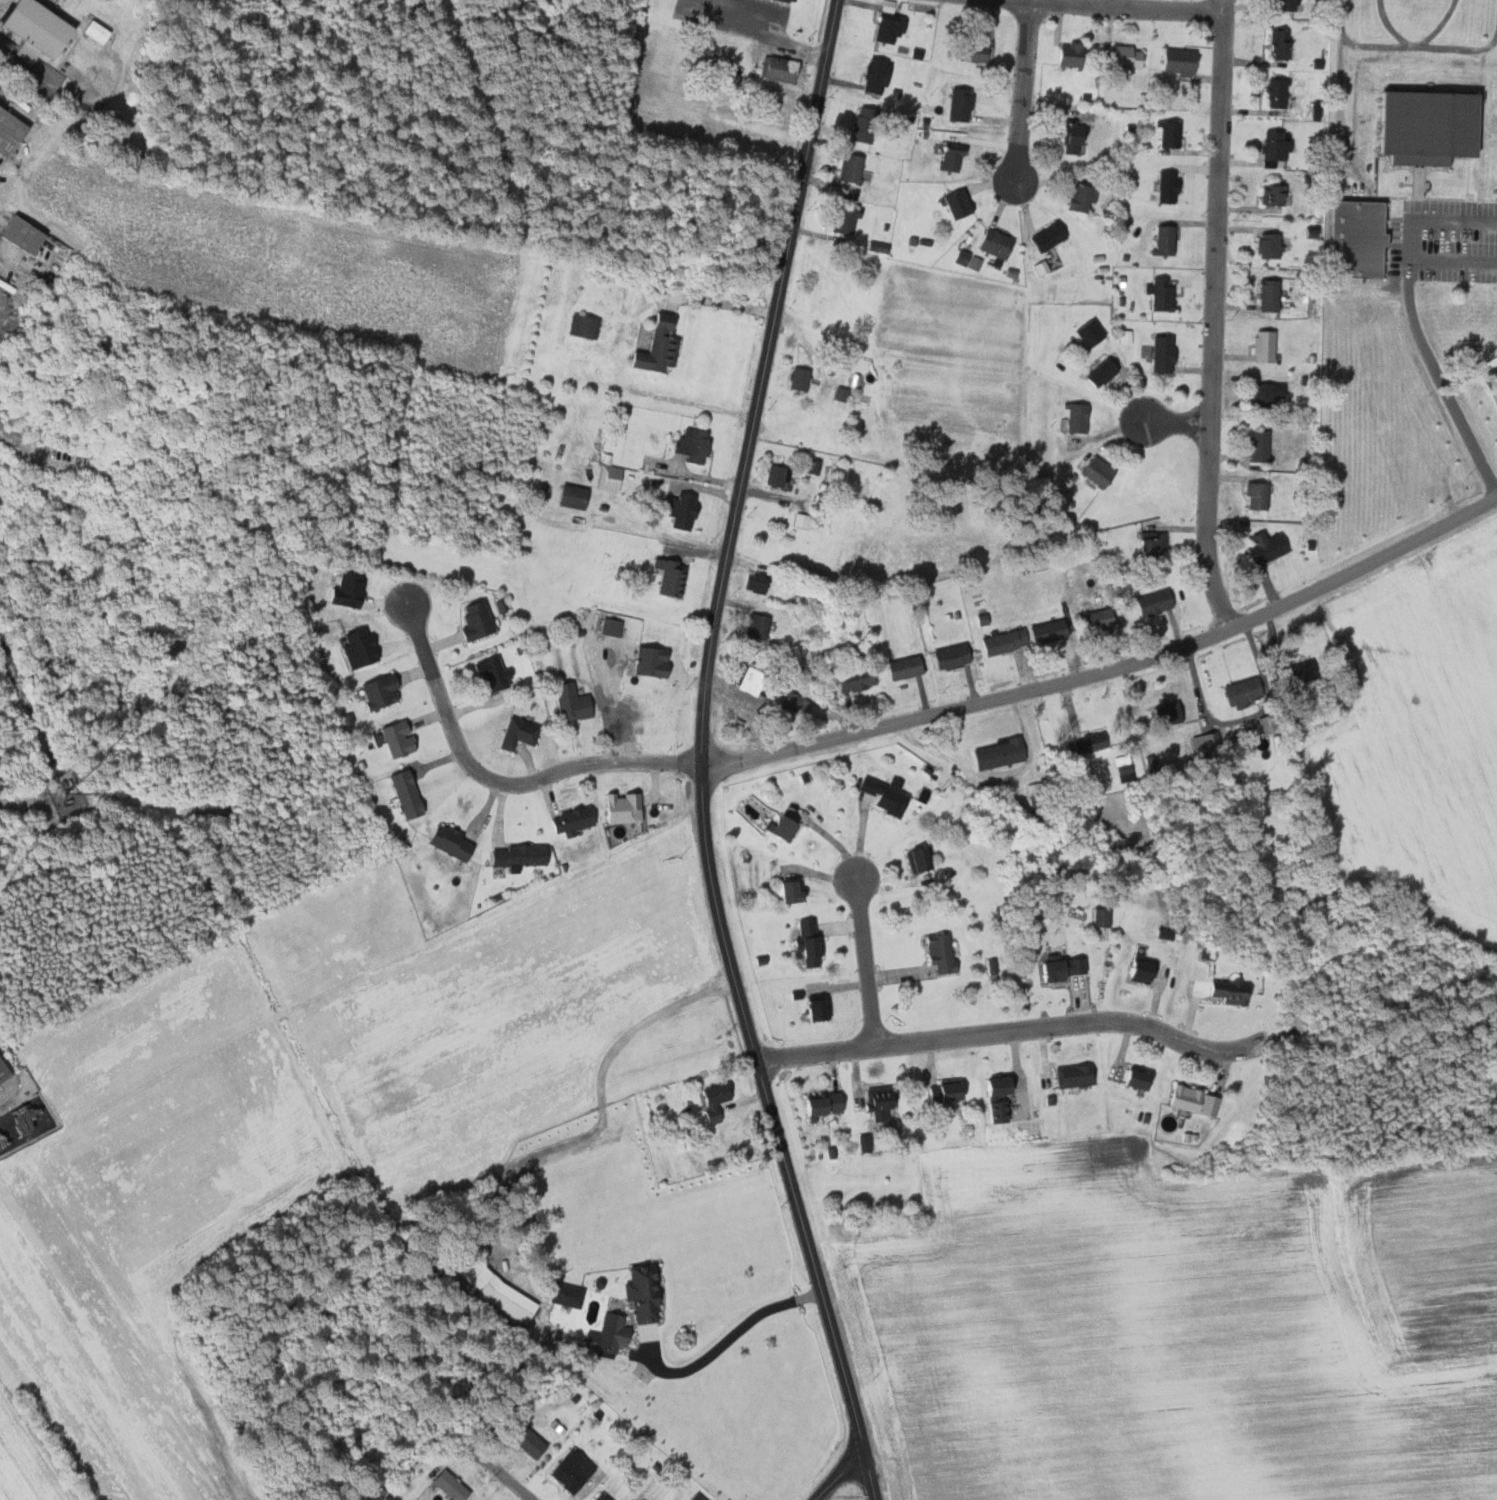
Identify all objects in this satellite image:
building: (789, 0)
building: (1284, 4)
road: (1226, 5)
road: (1129, 7)
building: (890, 24)
building: (43, 28)
building: (101, 30)
road: (1367, 42)
road: (1427, 42)
building: (1277, 44)
road: (1460, 46)
building: (974, 52)
building: (1070, 54)
building: (1127, 57)
building: (1180, 61)
building: (779, 69)
building: (877, 75)
road: (1024, 89)
building: (1277, 93)
building: (961, 104)
road: (1352, 117)
building: (866, 124)
building: (1434, 124)
building: (13, 130)
building: (1169, 134)
building: (1072, 136)
building: (1274, 145)
building: (952, 155)
building: (851, 167)
building: (1169, 186)
building: (1270, 194)
building: (1083, 198)
building: (959, 203)
building: (846, 218)
building: (27, 233)
building: (1049, 236)
building: (1366, 236)
parking lot: (1447, 238)
building: (1162, 239)
road: (1412, 241)
building: (997, 243)
building: (1269, 245)
building: (967, 259)
park: (1410, 271)
building: (1162, 294)
building: (1270, 295)
road: (1214, 323)
building: (584, 326)
building: (1090, 333)
building: (1265, 346)
building: (659, 347)
building: (1164, 354)
building: (1103, 372)
building: (800, 378)
road: (1442, 380)
building: (844, 393)
building: (1267, 394)
building: (1077, 417)
road: (1176, 421)
building: (857, 430)
building: (693, 443)
building: (1259, 445)
building: (814, 464)
building: (1098, 472)
building: (776, 475)
building: (612, 477)
building: (1258, 495)
building: (573, 496)
building: (683, 509)
building: (799, 519)
building: (1152, 544)
building: (1268, 549)
building: (671, 577)
building: (757, 579)
building: (1155, 602)
building: (1096, 619)
building: (476, 620)
building: (612, 625)
building: (757, 625)
building: (1049, 631)
building: (1004, 641)
building: (953, 656)
building: (652, 661)
building: (905, 667)
road: (1112, 669)
building: (1304, 671)
building: (492, 674)
building: (753, 679)
building: (857, 679)
building: (381, 691)
building: (1244, 691)
building: (572, 701)
building: (795, 703)
building: (1170, 714)
building: (1268, 724)
building: (518, 733)
building: (398, 738)
building: (1091, 742)
building: (1206, 743)
building: (999, 753)
road: (703, 754)
road: (501, 781)
building: (407, 794)
building: (891, 799)
building: (621, 808)
building: (573, 820)
building: (785, 828)
building: (451, 842)
building: (520, 855)
building: (913, 858)
building: (921, 859)
building: (793, 891)
building: (1101, 918)
building: (809, 943)
building: (942, 954)
road: (866, 962)
building: (1063, 969)
building: (1143, 969)
building: (1231, 992)
building: (817, 1009)
road: (1009, 1032)
building: (5, 1074)
building: (1074, 1075)
building: (1138, 1079)
building: (947, 1093)
building: (999, 1098)
building: (1192, 1100)
building: (713, 1101)
building: (880, 1103)
building: (818, 1104)
building: (493, 1290)
building: (638, 1294)
building: (564, 1295)
building: (606, 1334)
road: (724, 1341)
building: (523, 1439)
building: (568, 1471)
road: (839, 1474)
road: (509, 1478)
building: (447, 1485)
building: (598, 1497)
building: (693, 1497)

